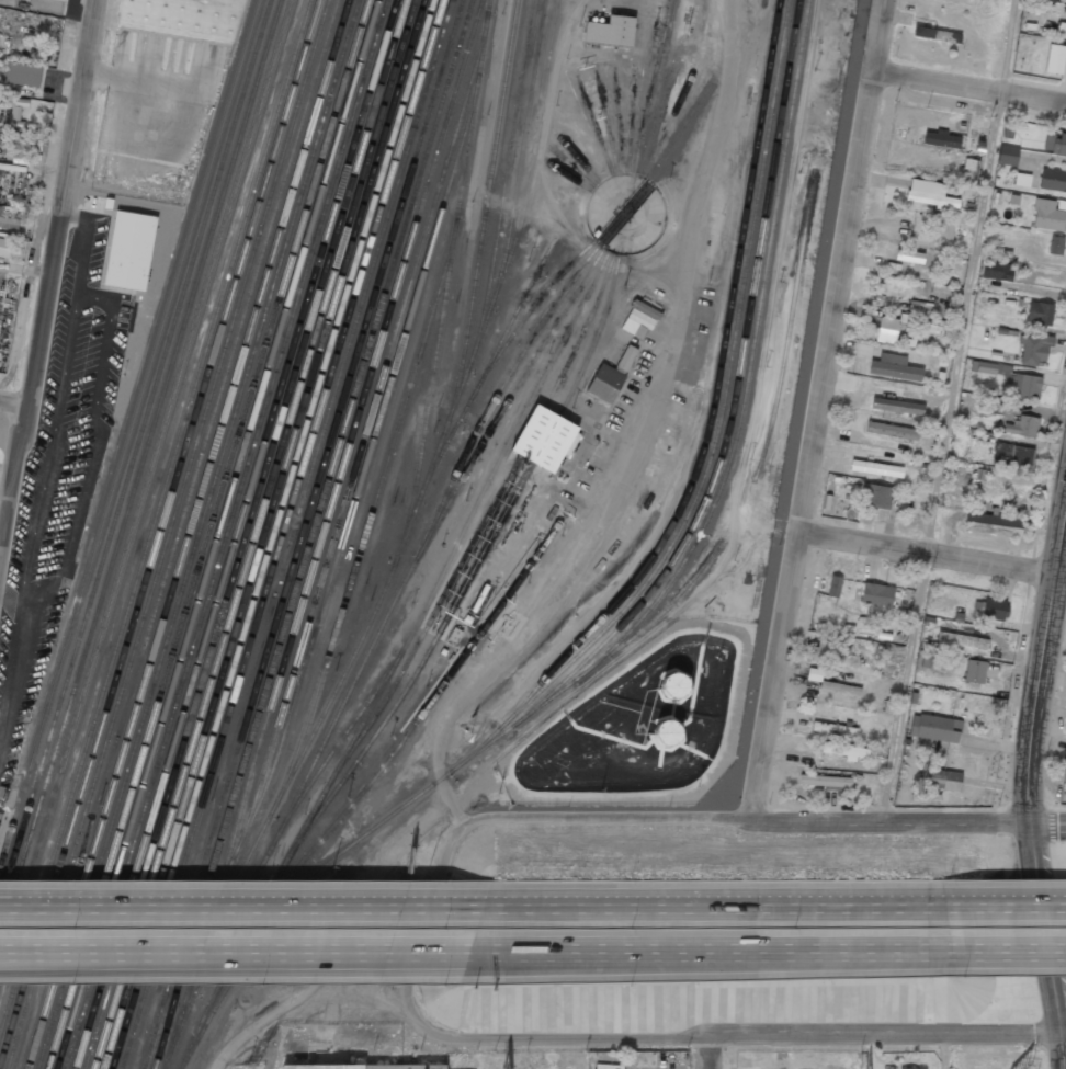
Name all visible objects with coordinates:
building: (60, 0)
building: (1050, 1)
building: (182, 18)
building: (610, 31)
building: (935, 35)
road: (1009, 46)
building: (1054, 59)
building: (23, 73)
railway: (653, 87)
road: (969, 87)
railway: (620, 120)
railway: (631, 120)
railway: (606, 121)
railway: (657, 122)
railway: (594, 125)
railway: (668, 126)
railway: (679, 130)
building: (940, 139)
building: (1055, 144)
building: (19, 145)
railway: (523, 149)
building: (1007, 155)
railway: (577, 158)
railway: (571, 168)
building: (969, 169)
railway: (569, 177)
railway: (504, 179)
building: (1053, 180)
building: (929, 194)
railway: (585, 211)
railway: (523, 215)
building: (1048, 216)
building: (9, 218)
building: (944, 234)
building: (5, 244)
building: (1056, 246)
building: (129, 251)
building: (923, 258)
railway: (372, 268)
road: (49, 271)
building: (996, 271)
railway: (517, 310)
building: (1039, 314)
building: (922, 320)
railway: (441, 321)
building: (886, 329)
building: (1034, 350)
railway: (498, 357)
building: (625, 360)
building: (894, 367)
building: (1010, 379)
building: (604, 384)
railway: (502, 389)
railway: (734, 393)
railway: (714, 395)
road: (13, 400)
building: (897, 406)
road: (818, 409)
railway: (282, 416)
railway: (155, 422)
building: (1021, 427)
railway: (718, 429)
building: (892, 431)
railway: (131, 433)
building: (551, 442)
railway: (372, 443)
railway: (135, 451)
railway: (360, 452)
building: (1012, 455)
road: (943, 456)
building: (875, 468)
railway: (146, 484)
building: (874, 494)
railway: (150, 500)
railway: (714, 502)
railway: (417, 503)
railway: (476, 513)
railway: (370, 514)
railway: (155, 516)
building: (993, 524)
railway: (159, 531)
railway: (321, 533)
railway: (168, 534)
railway: (178, 534)
railway: (189, 534)
railway: (197, 534)
railway: (207, 534)
railway: (217, 534)
railway: (226, 534)
railway: (254, 534)
railway: (263, 534)
railway: (273, 534)
railway: (283, 534)
railway: (302, 534)
railway: (311, 534)
railway: (429, 536)
road: (932, 553)
railway: (464, 560)
building: (833, 587)
building: (876, 594)
building: (995, 609)
building: (962, 639)
building: (828, 650)
road: (1040, 659)
building: (933, 661)
railway: (418, 671)
building: (974, 671)
building: (676, 686)
building: (840, 689)
building: (1065, 726)
building: (934, 728)
building: (833, 729)
building: (667, 733)
building: (844, 751)
building: (1064, 770)
building: (825, 781)
building: (939, 781)
railway: (366, 787)
building: (0, 816)
road: (684, 819)
road: (1047, 820)
railway: (148, 833)
railway: (270, 851)
railway: (14, 890)
road: (1020, 911)
road: (734, 914)
road: (247, 916)
road: (1043, 928)
railway: (124, 949)
road: (246, 956)
road: (1020, 956)
road: (734, 958)
road: (698, 1036)
road: (1061, 1036)
road: (710, 1053)
road: (942, 1053)
road: (1056, 1053)
building: (367, 1067)
building: (909, 1068)

